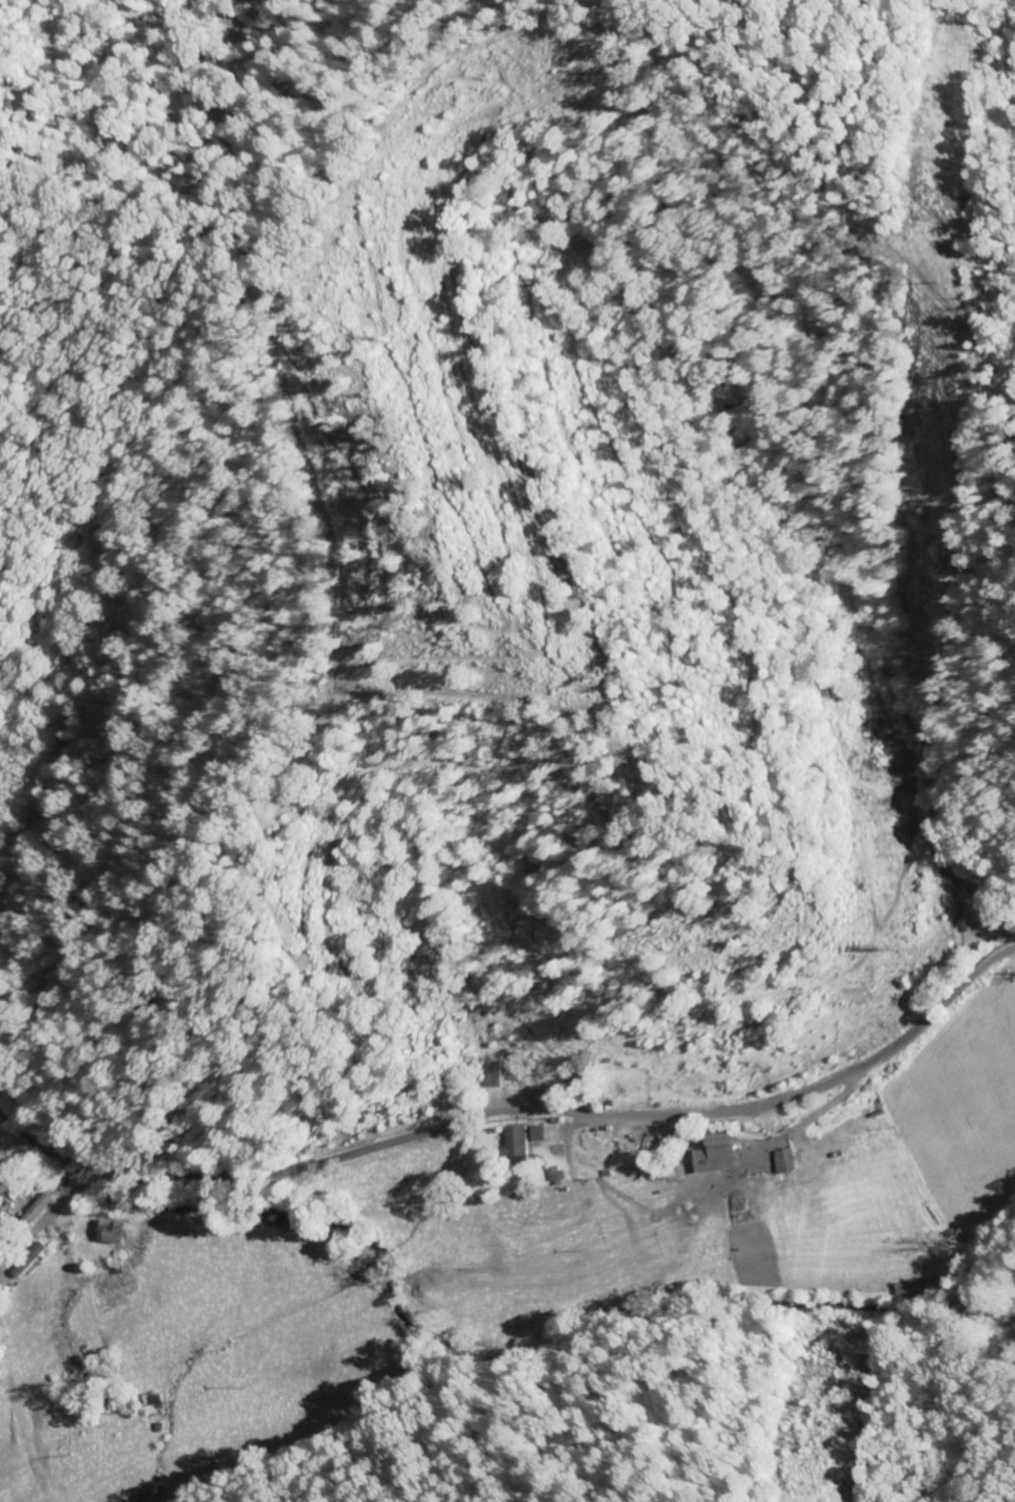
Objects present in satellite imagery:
building: (505, 1076)
road: (517, 1110)
building: (523, 1143)
building: (727, 1154)
building: (561, 1175)
road: (42, 1230)
building: (119, 1233)
building: (35, 1259)
building: (918, 1291)

